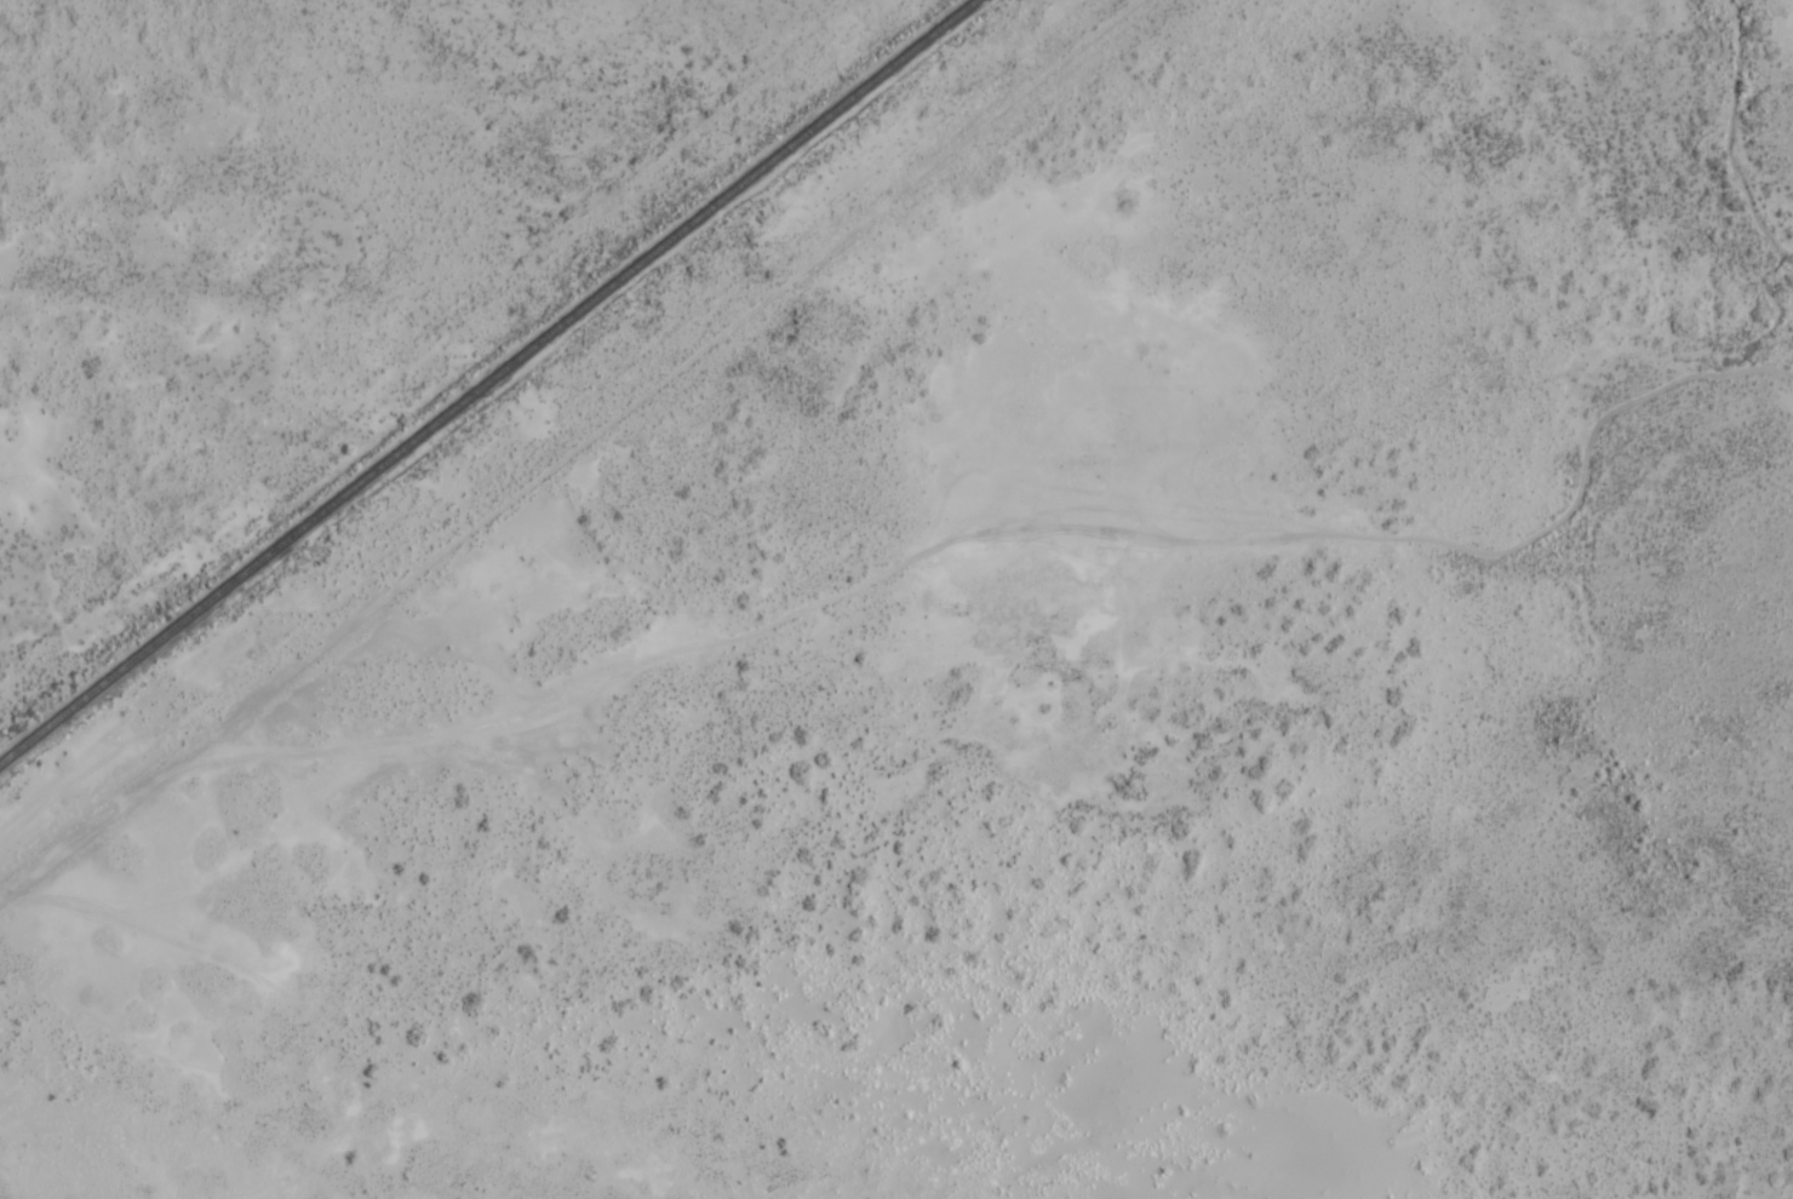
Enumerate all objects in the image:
railway: (488, 380)
road: (663, 390)
road: (873, 618)

